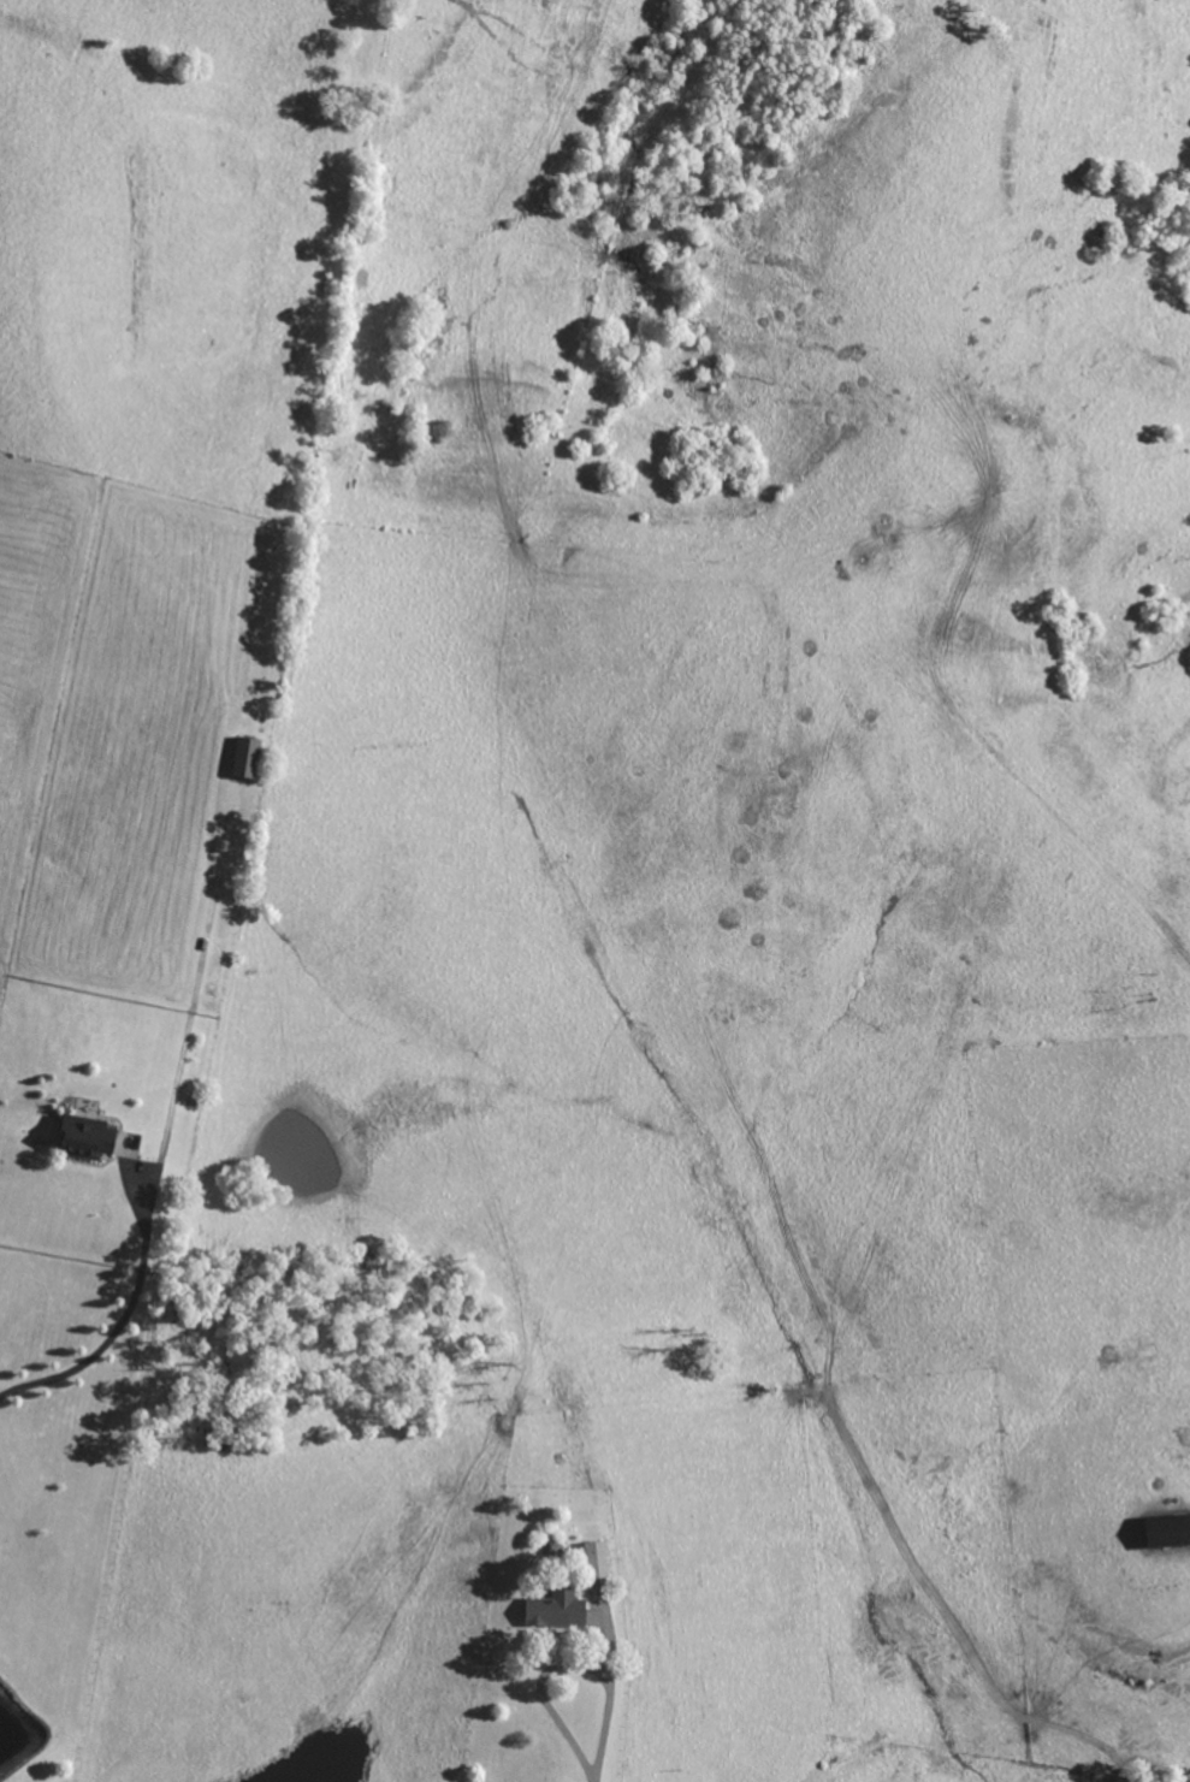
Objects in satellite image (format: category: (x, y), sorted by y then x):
building: (248, 757)
building: (88, 1137)
road: (123, 1321)
building: (1170, 1531)
building: (597, 1558)
building: (557, 1609)

